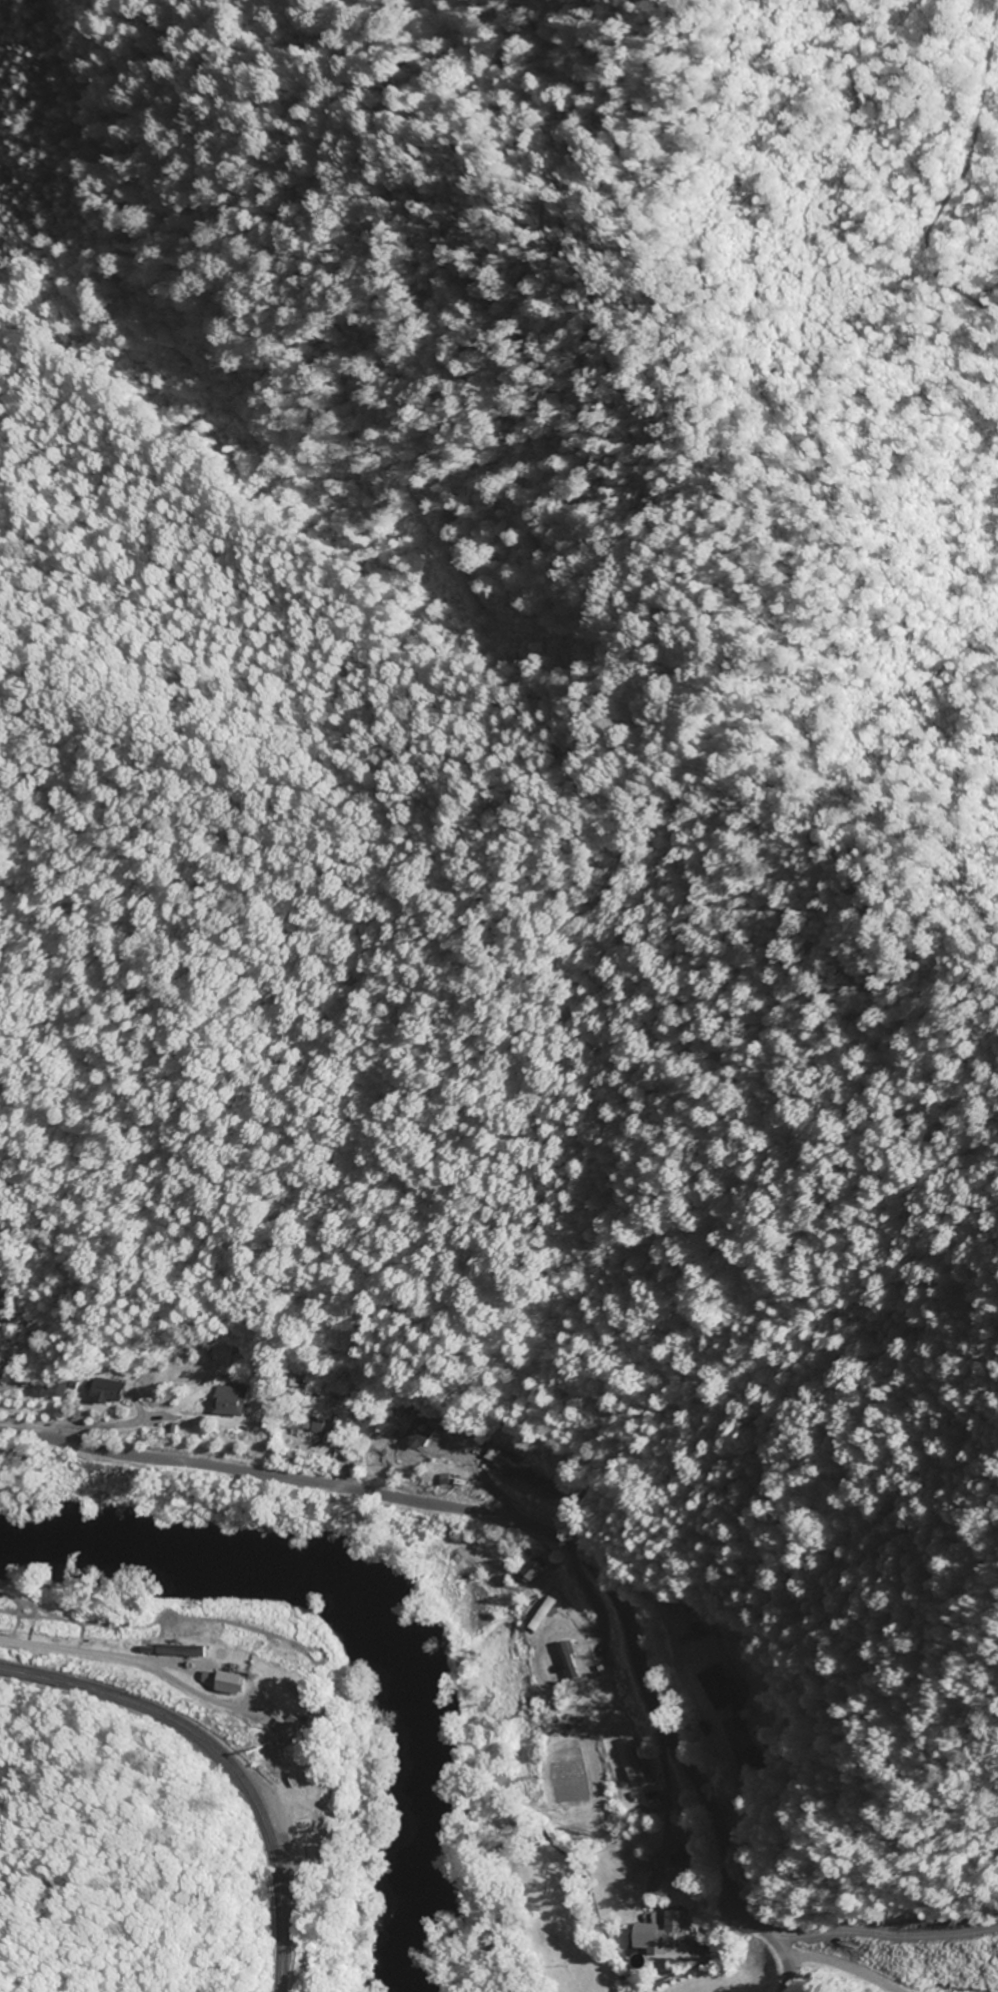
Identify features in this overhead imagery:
building: (45, 1391)
building: (101, 1391)
building: (225, 1402)
building: (303, 1425)
building: (413, 1435)
building: (514, 1473)
building: (547, 1494)
road: (534, 1526)
building: (526, 1572)
river: (373, 1609)
building: (178, 1651)
building: (563, 1661)
building: (205, 1679)
building: (226, 1684)
building: (724, 1697)
road: (200, 1701)
building: (284, 1731)
building: (751, 1758)
road: (223, 1760)
building: (632, 1765)
road: (666, 1784)
road: (880, 1934)
building: (655, 1935)
road: (838, 1965)

